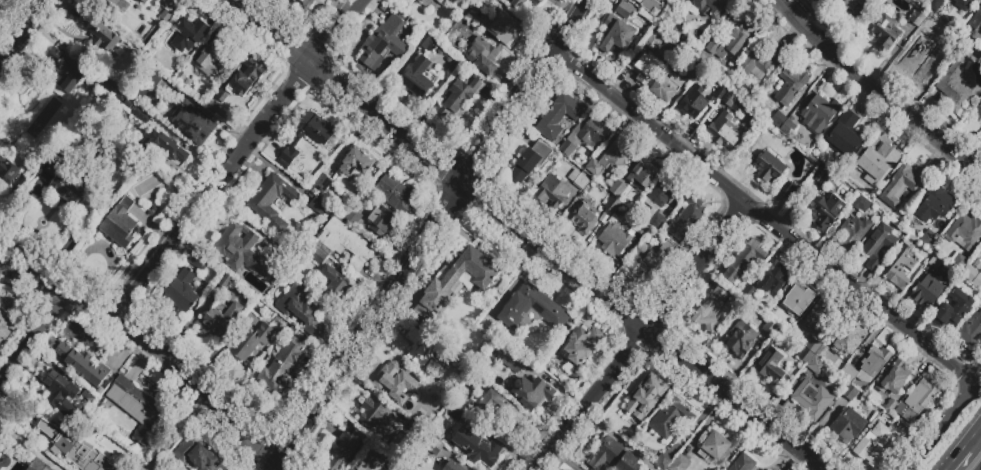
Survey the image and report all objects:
building: (460, 0)
building: (492, 0)
building: (144, 1)
building: (452, 1)
building: (680, 1)
building: (110, 2)
building: (426, 2)
building: (440, 2)
building: (485, 2)
building: (117, 3)
building: (168, 4)
building: (301, 4)
building: (529, 4)
building: (964, 4)
building: (650, 6)
building: (936, 6)
building: (516, 7)
building: (710, 8)
building: (849, 8)
building: (625, 9)
building: (917, 18)
building: (975, 25)
building: (505, 28)
building: (883, 32)
road: (26, 33)
building: (96, 34)
building: (188, 34)
building: (616, 36)
building: (654, 38)
building: (732, 38)
building: (428, 42)
building: (383, 45)
building: (216, 54)
building: (918, 56)
building: (482, 57)
building: (759, 65)
building: (645, 68)
building: (67, 72)
building: (693, 74)
building: (156, 77)
building: (420, 78)
building: (241, 79)
building: (955, 85)
building: (790, 86)
building: (666, 87)
building: (718, 91)
road: (875, 91)
building: (112, 92)
building: (462, 96)
building: (42, 97)
building: (694, 102)
building: (732, 102)
building: (214, 105)
building: (978, 111)
building: (819, 113)
building: (559, 115)
building: (142, 117)
building: (189, 120)
building: (778, 120)
building: (788, 128)
building: (724, 129)
building: (586, 136)
building: (844, 137)
building: (323, 142)
building: (167, 148)
road: (238, 156)
building: (610, 158)
building: (529, 161)
building: (356, 162)
building: (877, 163)
building: (770, 168)
building: (8, 171)
building: (644, 174)
building: (821, 174)
building: (579, 179)
building: (322, 183)
building: (69, 184)
building: (903, 184)
building: (619, 189)
building: (787, 190)
building: (552, 192)
building: (665, 193)
building: (396, 194)
building: (273, 202)
building: (612, 204)
building: (861, 204)
building: (934, 205)
building: (319, 207)
building: (827, 211)
building: (352, 217)
road: (764, 217)
building: (582, 218)
building: (685, 218)
building: (658, 220)
building: (382, 221)
building: (120, 224)
building: (643, 228)
building: (854, 232)
building: (964, 232)
road: (431, 234)
road: (527, 235)
building: (928, 238)
building: (614, 239)
building: (346, 244)
building: (878, 246)
building: (667, 247)
building: (244, 251)
building: (317, 255)
building: (644, 261)
building: (744, 261)
building: (200, 262)
building: (958, 262)
building: (904, 264)
building: (936, 264)
building: (973, 277)
building: (773, 279)
building: (225, 280)
building: (279, 281)
building: (455, 281)
building: (335, 283)
building: (183, 292)
building: (926, 292)
building: (798, 297)
building: (710, 307)
building: (300, 309)
building: (532, 310)
building: (953, 310)
building: (815, 315)
building: (219, 319)
building: (489, 325)
building: (3, 328)
building: (970, 328)
building: (771, 330)
road: (35, 334)
road: (641, 336)
road: (152, 341)
building: (740, 341)
building: (252, 342)
building: (850, 342)
building: (579, 344)
building: (812, 345)
building: (425, 351)
building: (823, 354)
building: (805, 357)
building: (512, 363)
building: (282, 365)
building: (771, 365)
building: (85, 366)
building: (816, 366)
building: (867, 366)
building: (894, 377)
building: (399, 384)
building: (529, 389)
building: (850, 393)
building: (60, 394)
building: (648, 397)
building: (812, 399)
building: (915, 401)
building: (890, 405)
building: (497, 407)
building: (134, 408)
building: (374, 416)
building: (458, 416)
building: (671, 418)
building: (423, 422)
road: (944, 423)
building: (848, 426)
building: (624, 427)
building: (411, 429)
road: (973, 437)
building: (879, 442)
building: (433, 446)
road: (28, 447)
building: (477, 447)
building: (714, 447)
building: (74, 448)
building: (345, 449)
building: (198, 456)
building: (612, 456)
road: (955, 459)
building: (367, 462)
building: (663, 462)
building: (679, 463)
building: (742, 463)
building: (39, 465)
building: (395, 465)
building: (452, 466)
building: (406, 468)
building: (348, 469)
building: (352, 469)

